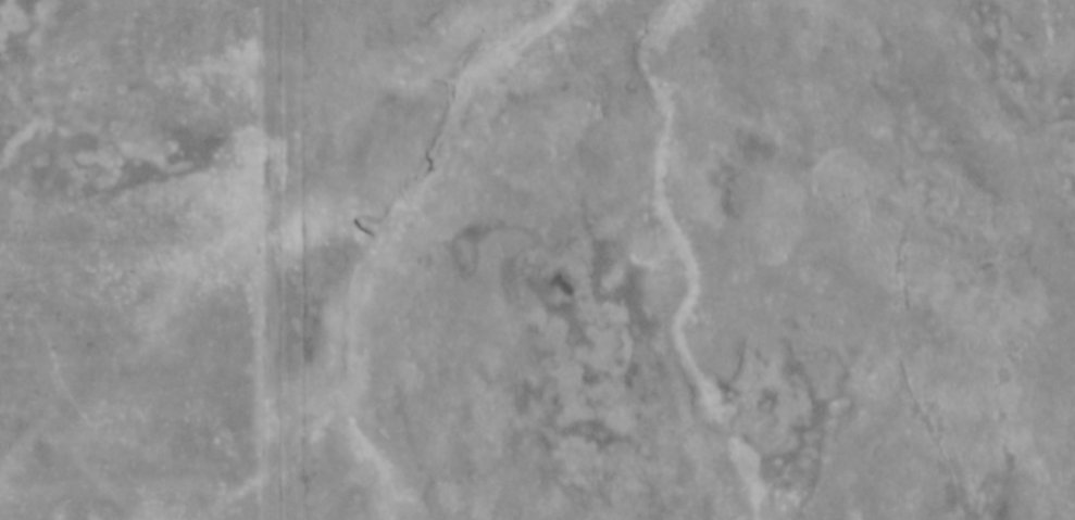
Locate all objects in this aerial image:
road: (82, 84)
road: (273, 259)

